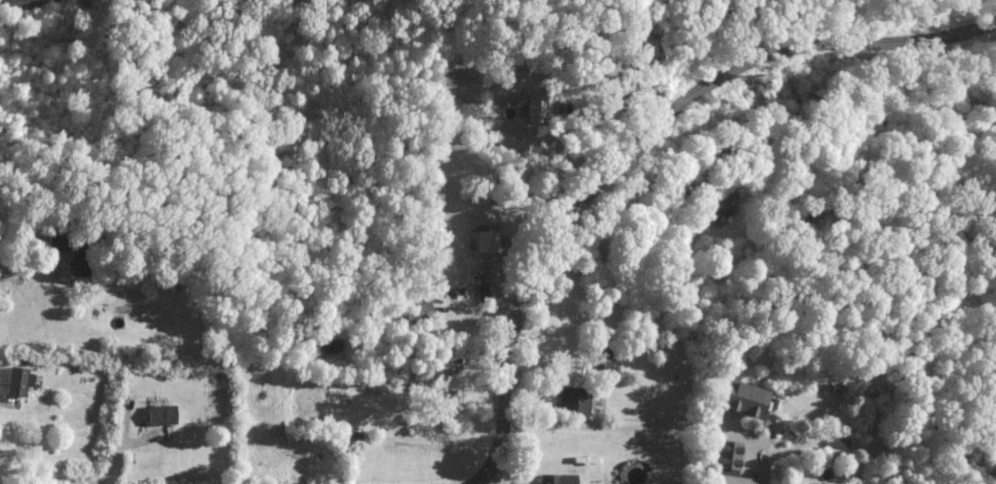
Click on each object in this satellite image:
building: (20, 3)
road: (635, 142)
building: (488, 240)
building: (79, 258)
road: (28, 262)
building: (472, 293)
building: (442, 367)
building: (20, 380)
building: (747, 398)
building: (574, 399)
building: (163, 413)
road: (607, 426)
road: (120, 439)
building: (559, 478)
road: (45, 479)

